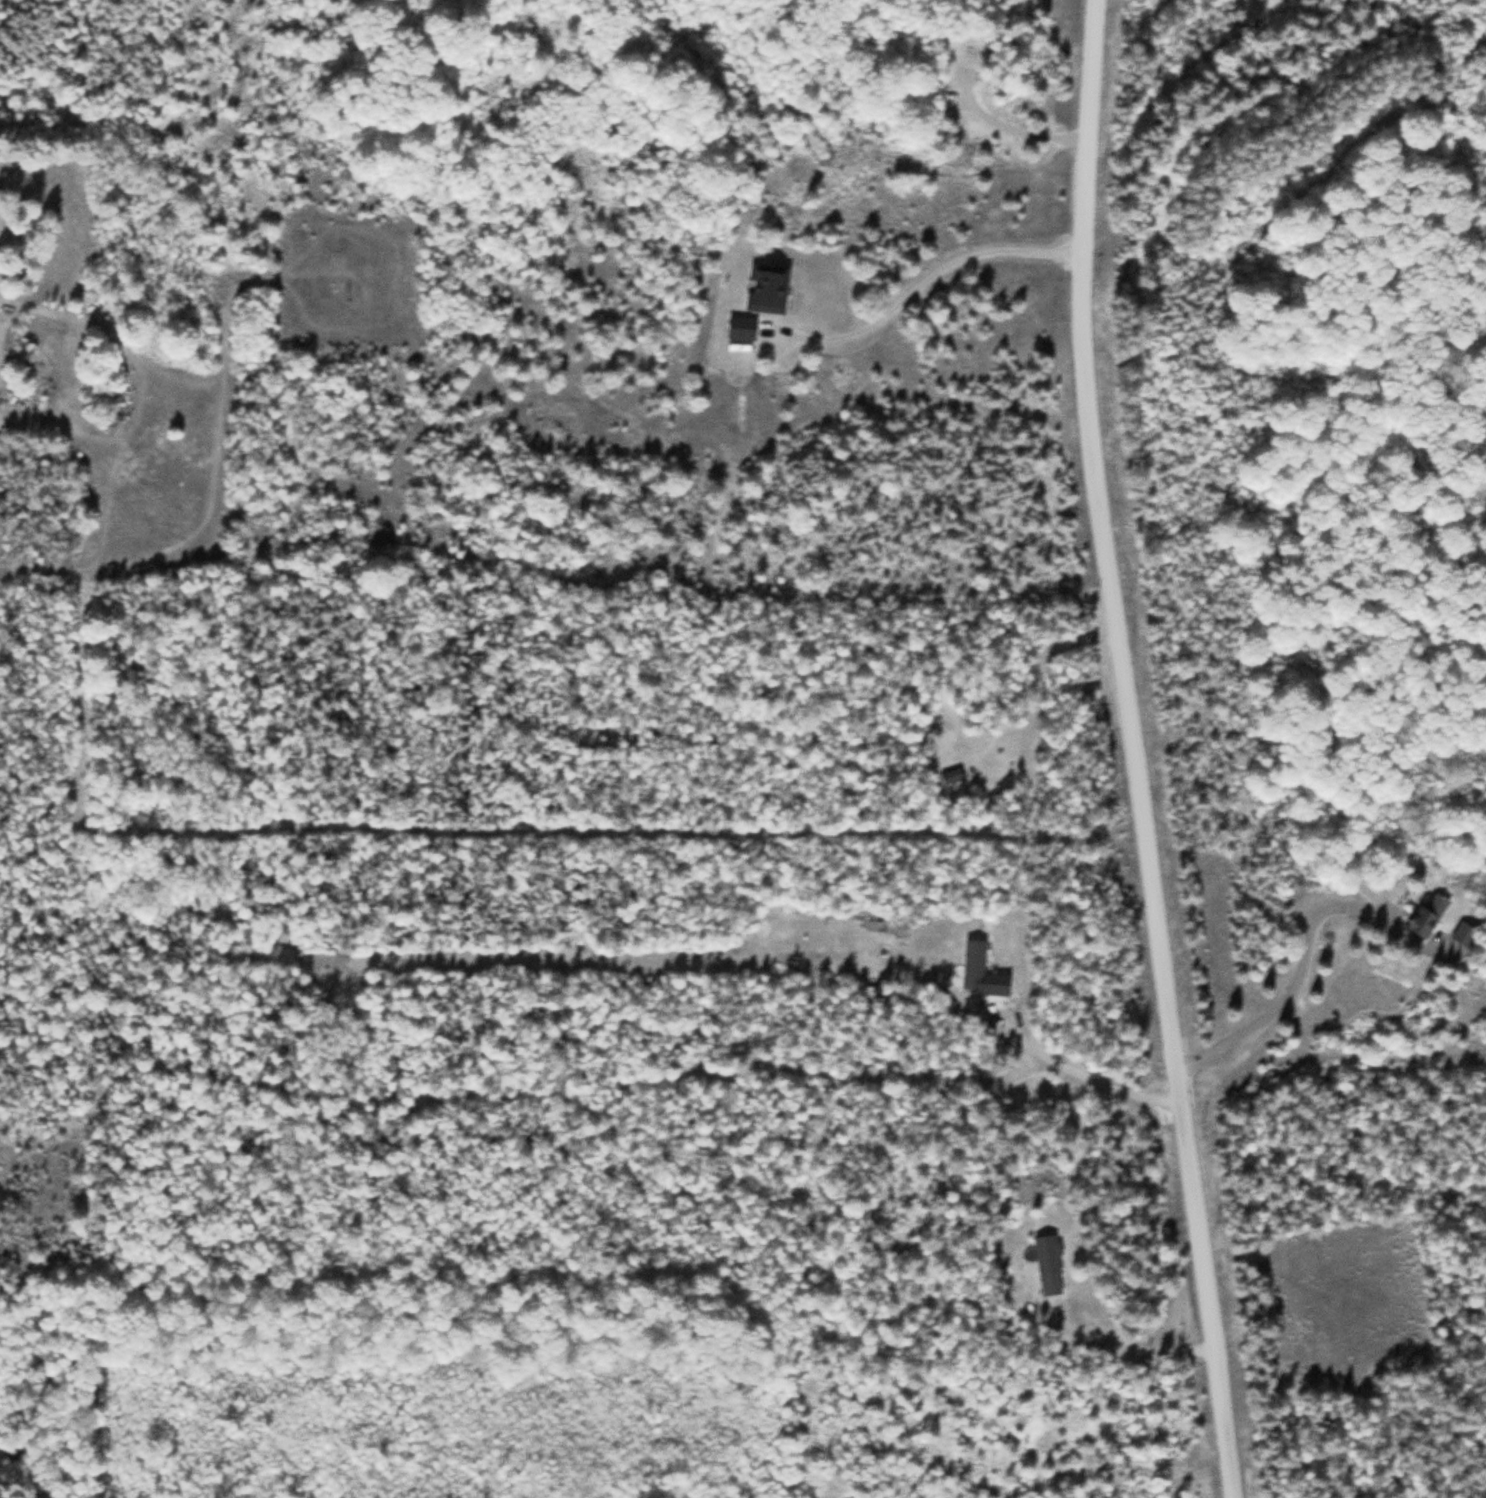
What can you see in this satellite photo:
building: (767, 289)
building: (741, 328)
road: (1133, 750)
building: (1428, 914)
building: (1465, 934)
building: (981, 971)
building: (1048, 1264)

